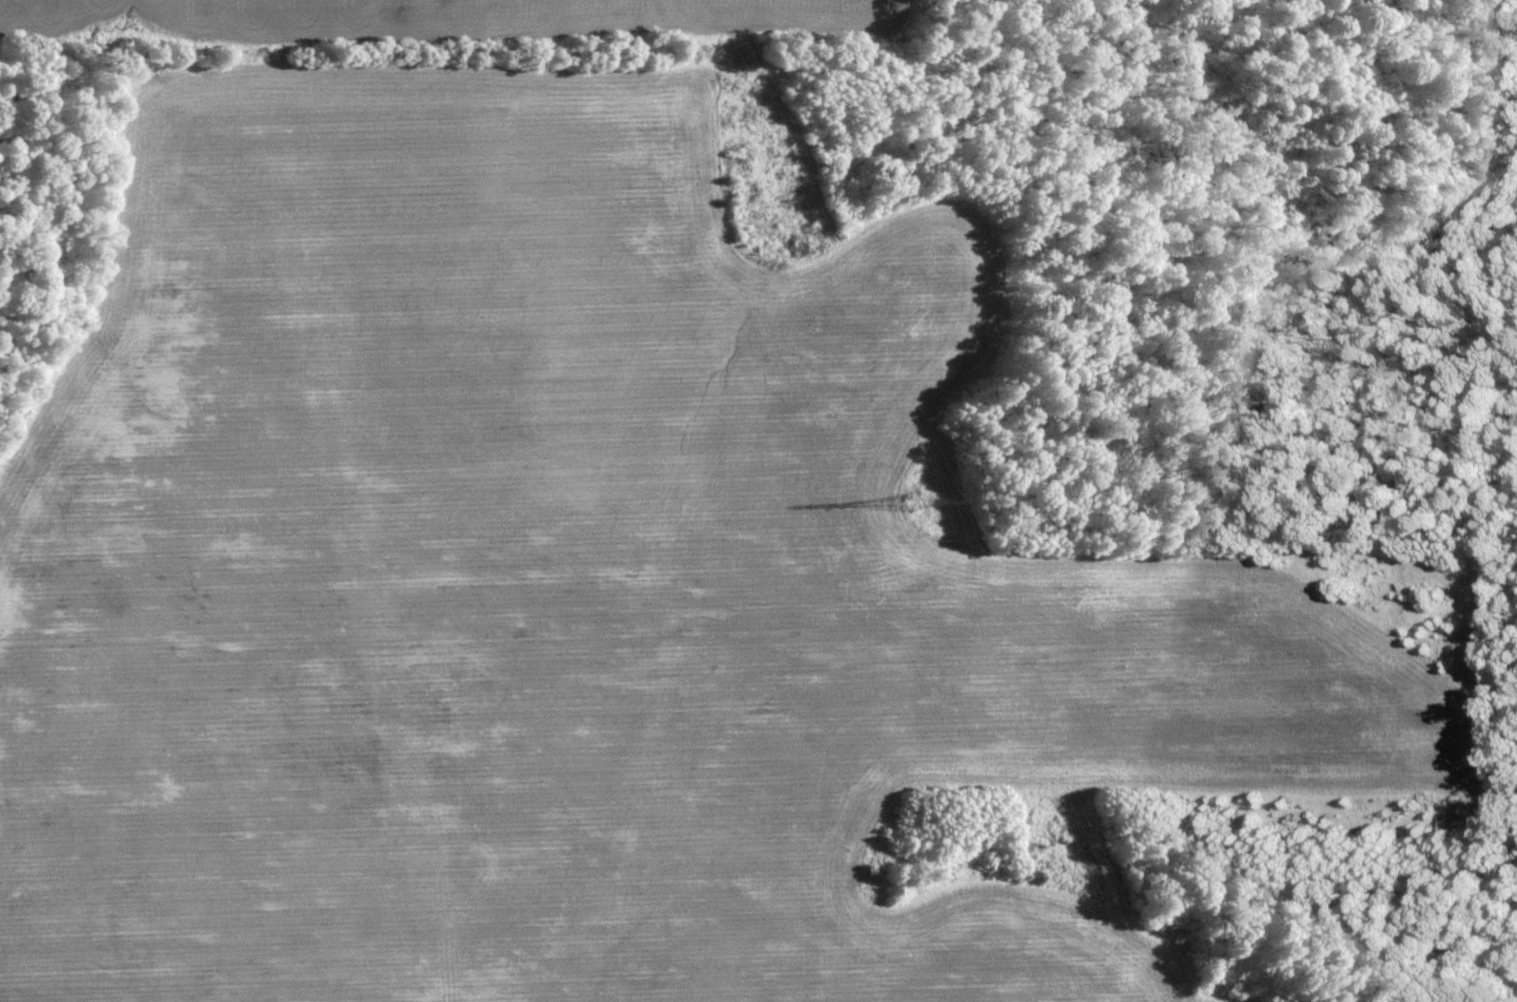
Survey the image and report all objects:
power tower: (911, 501)

